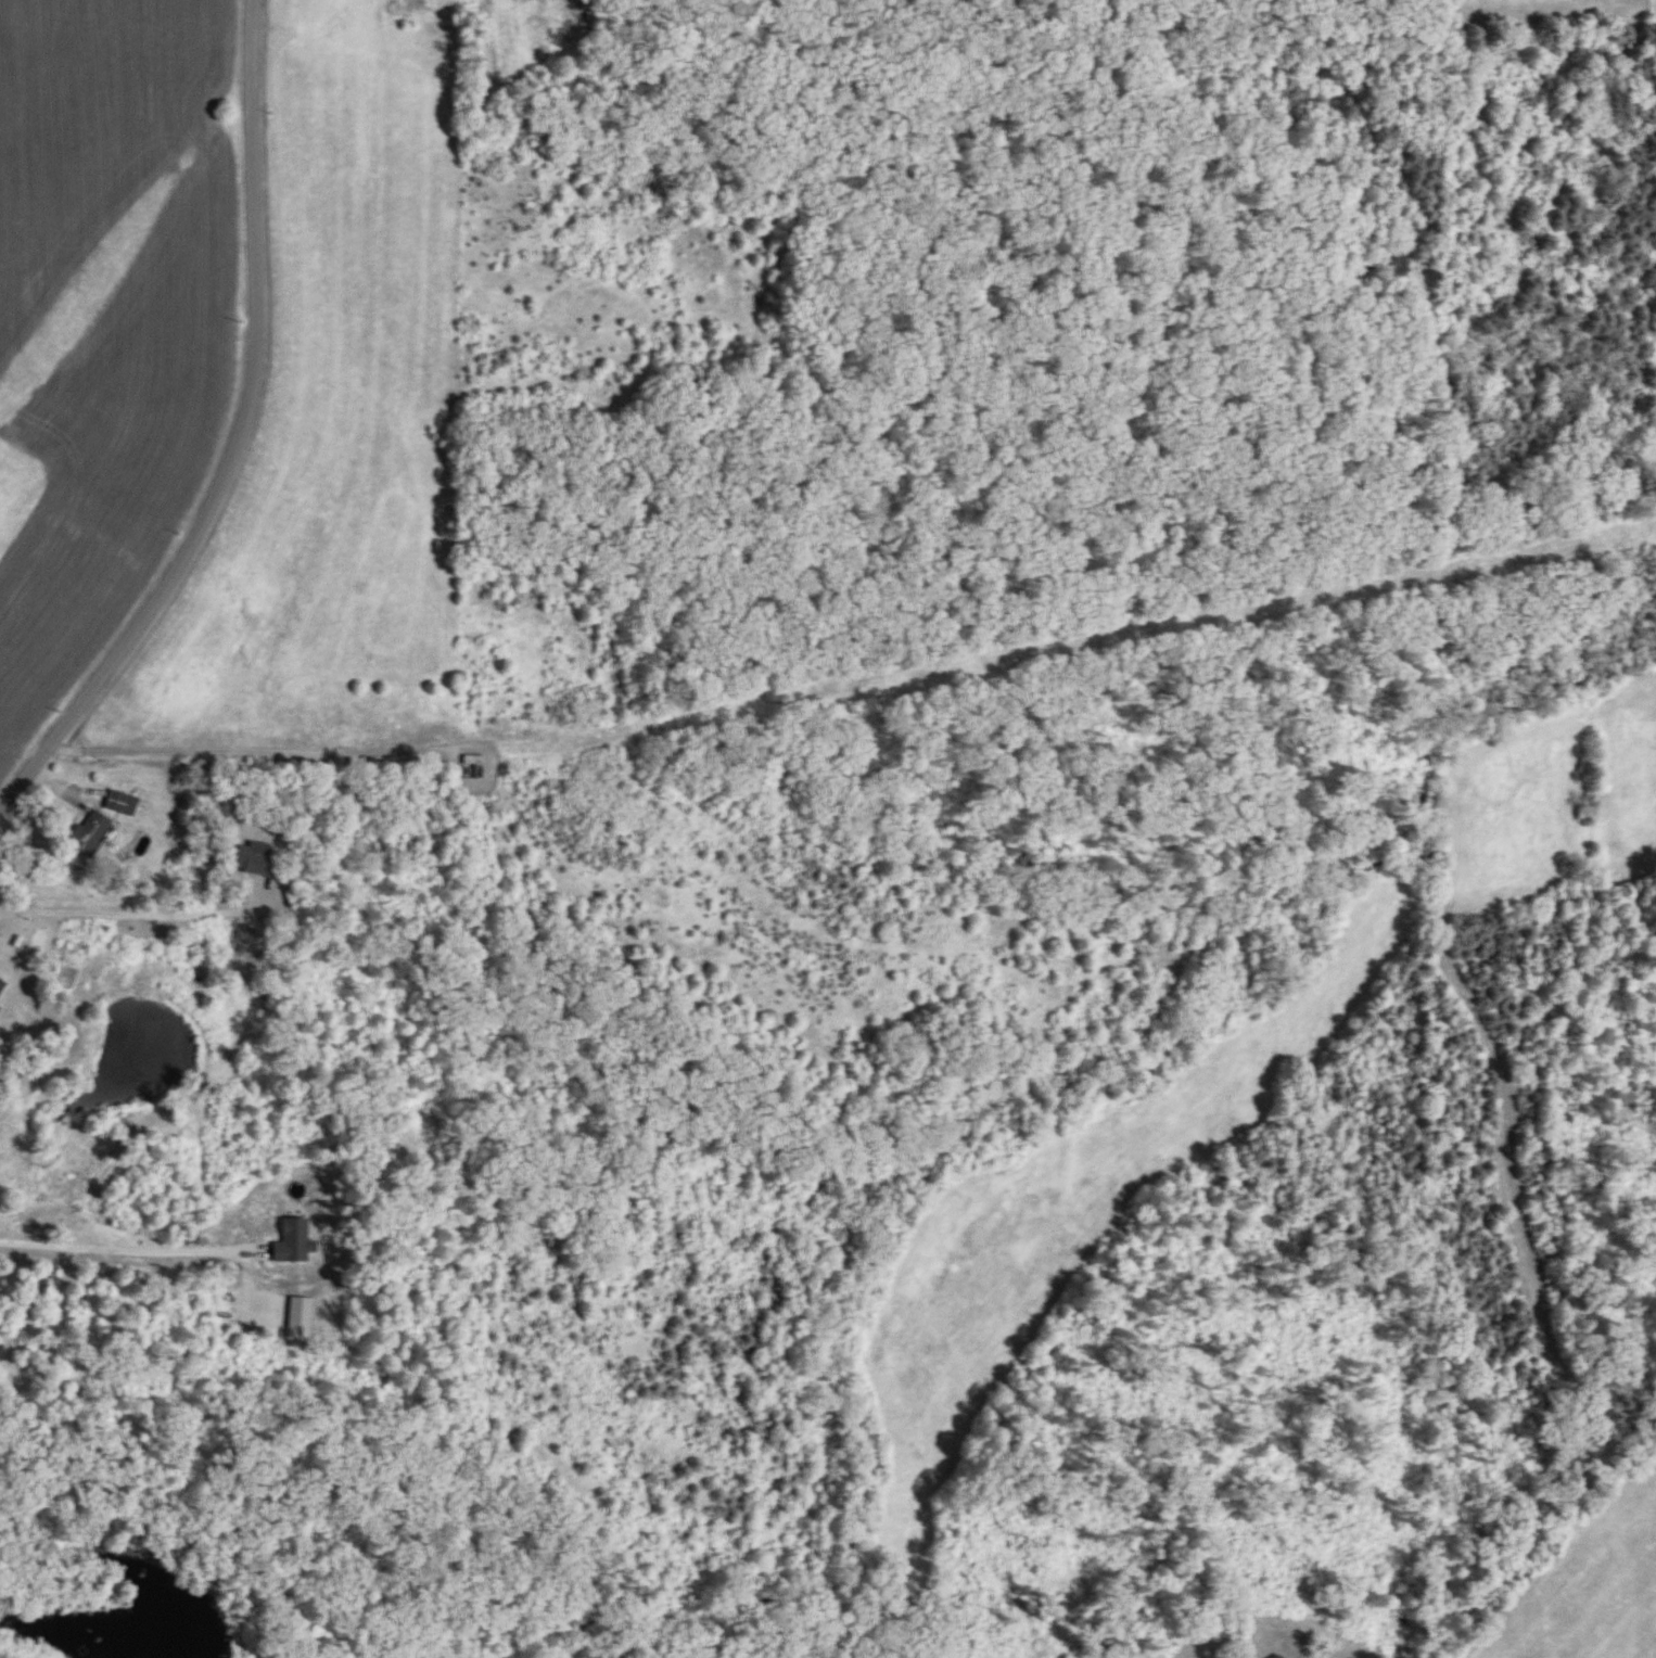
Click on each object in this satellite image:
road: (235, 443)
road: (854, 692)
building: (474, 767)
building: (120, 804)
building: (89, 833)
building: (253, 859)
building: (296, 897)
road: (136, 916)
building: (0, 984)
road: (117, 1243)
building: (1279, 1657)

